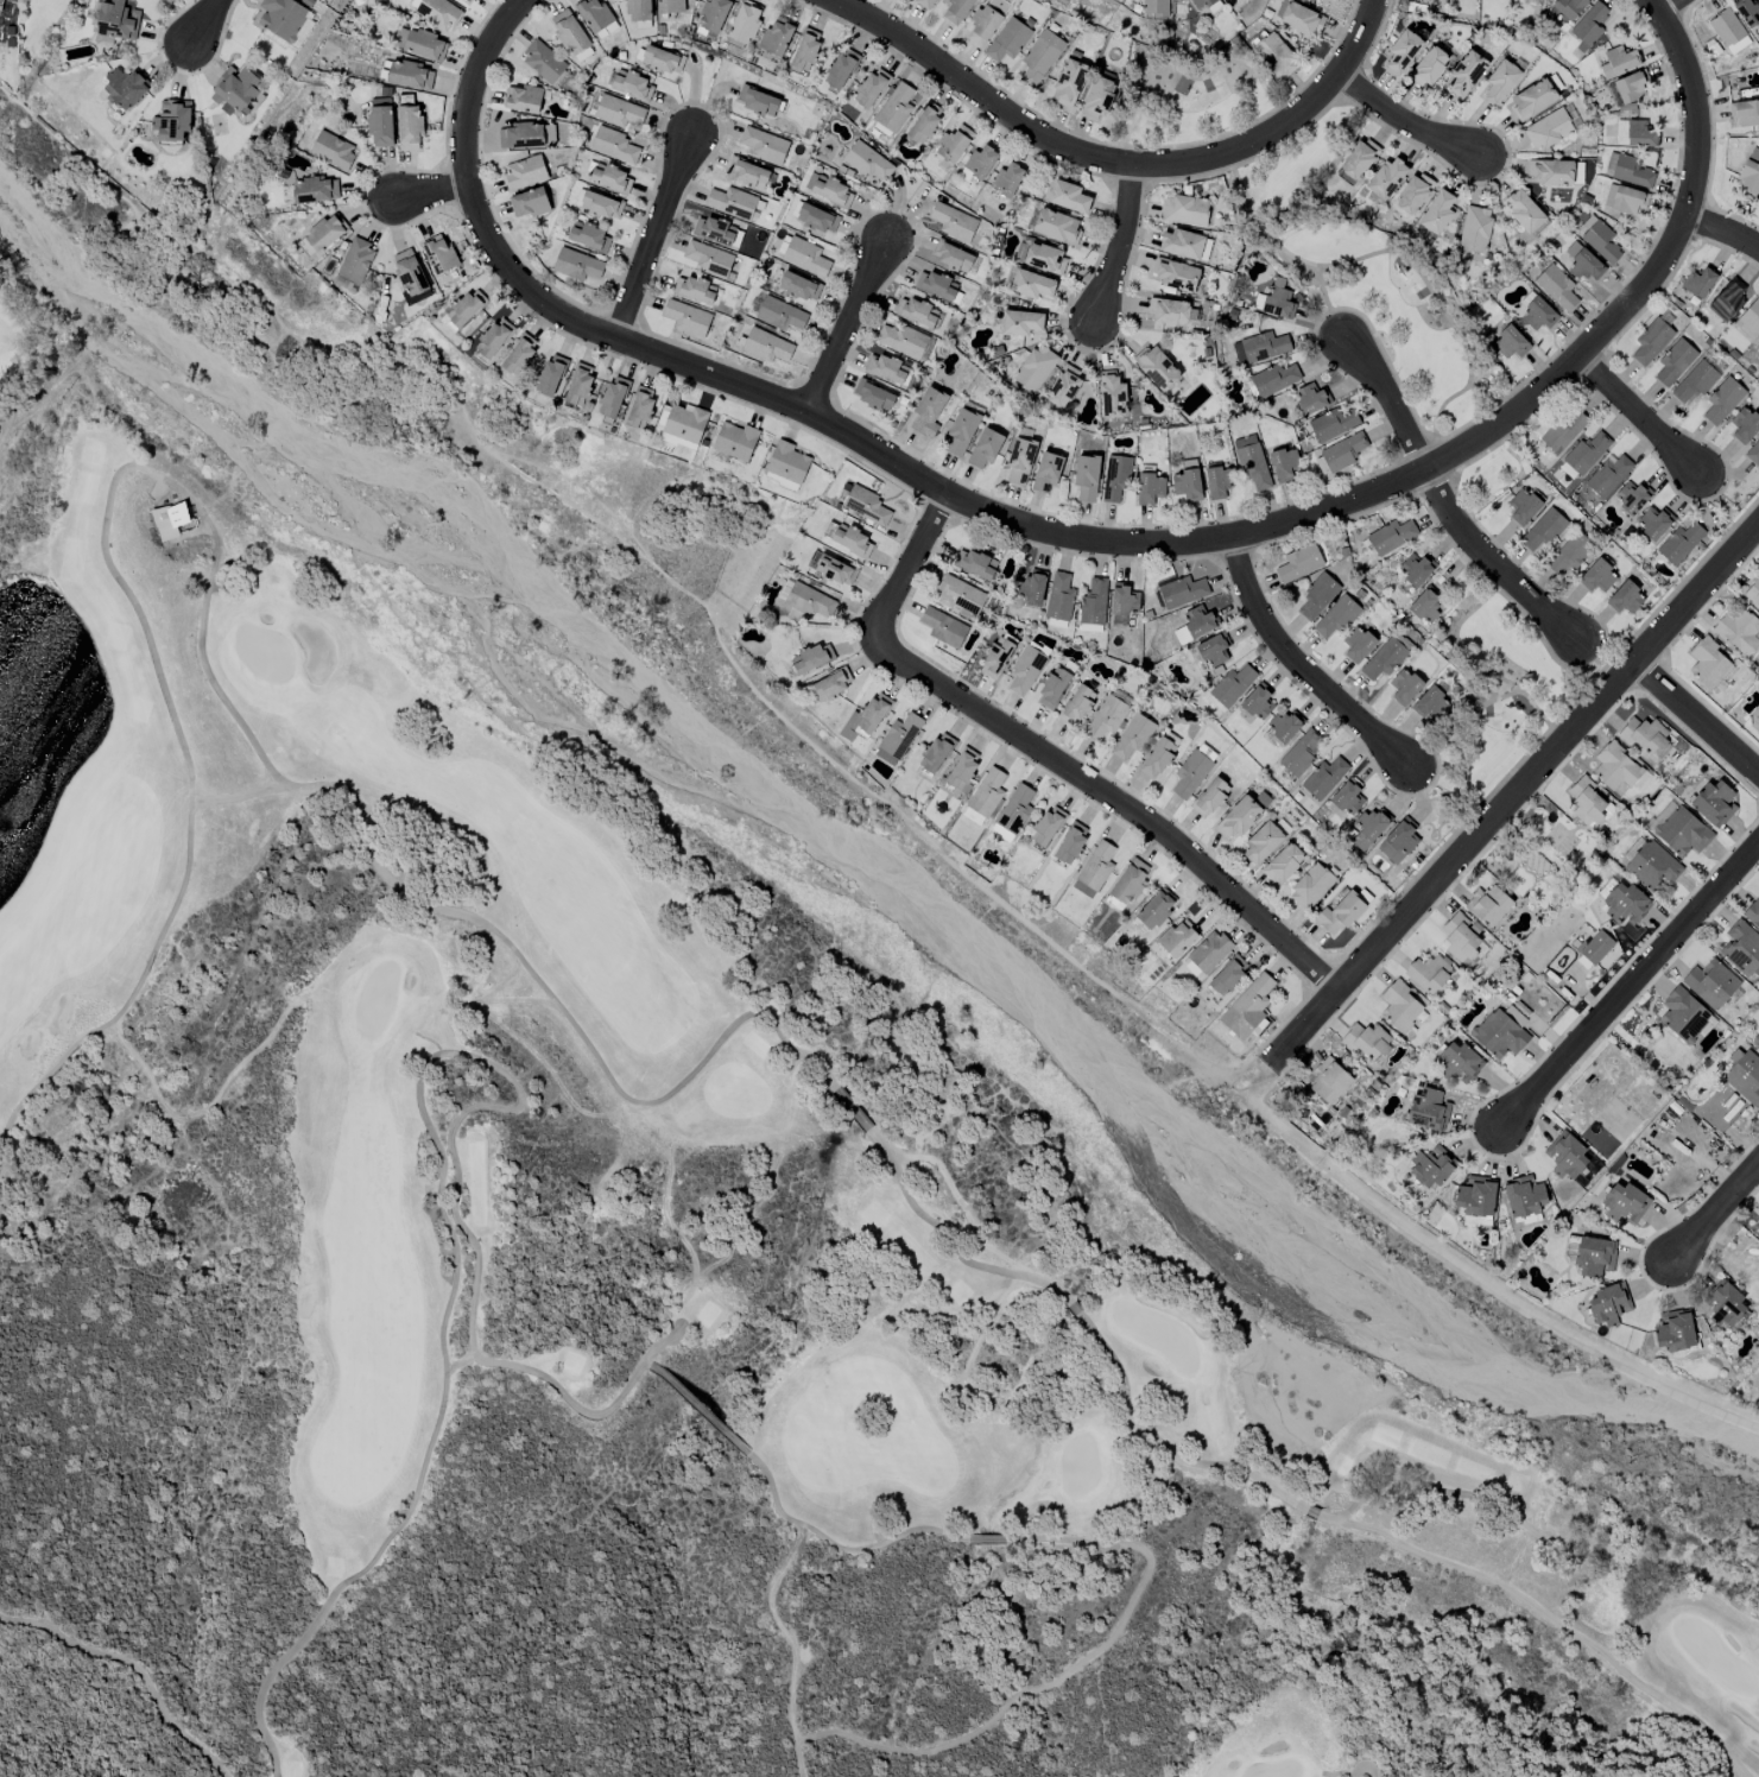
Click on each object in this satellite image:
building: (1226, 0)
building: (1329, 0)
building: (464, 1)
road: (1633, 1)
road: (1696, 2)
building: (2, 4)
building: (924, 4)
building: (1202, 4)
road: (1681, 4)
road: (1654, 5)
road: (1665, 5)
building: (670, 6)
road: (1685, 6)
building: (1569, 7)
building: (1154, 8)
building: (639, 10)
building: (956, 10)
building: (437, 11)
building: (1747, 12)
building: (281, 18)
building: (596, 18)
building: (1298, 18)
building: (986, 20)
road: (209, 21)
building: (116, 23)
building: (745, 23)
building: (1589, 24)
road: (1380, 31)
building: (1728, 31)
building: (569, 32)
road: (1669, 34)
building: (776, 38)
building: (1007, 40)
building: (420, 43)
building: (1403, 51)
building: (804, 52)
building: (1276, 55)
building: (1040, 57)
building: (662, 59)
building: (543, 62)
building: (1619, 62)
building: (1428, 67)
building: (841, 70)
road: (458, 72)
building: (1466, 74)
building: (409, 75)
road: (1187, 76)
road: (1365, 80)
building: (1069, 82)
building: (1500, 82)
road: (1354, 84)
building: (632, 86)
building: (1632, 87)
building: (125, 88)
building: (871, 88)
road: (948, 89)
building: (234, 90)
park: (1192, 95)
road: (1352, 96)
building: (523, 99)
building: (1097, 99)
building: (1532, 99)
building: (758, 101)
road: (702, 107)
building: (894, 107)
road: (1710, 108)
building: (618, 112)
building: (1745, 113)
building: (172, 120)
road: (1403, 120)
building: (380, 122)
building: (924, 122)
building: (409, 127)
building: (1548, 129)
building: (1634, 134)
building: (527, 135)
building: (953, 144)
building: (613, 145)
building: (764, 145)
road: (1126, 146)
building: (333, 151)
road: (1249, 159)
road: (1118, 160)
building: (867, 162)
building: (980, 162)
road: (1120, 162)
road: (1152, 162)
building: (1358, 162)
road: (448, 163)
road: (482, 167)
road: (1504, 169)
building: (1631, 171)
building: (524, 172)
building: (1556, 172)
building: (747, 173)
building: (1749, 175)
road: (1158, 177)
building: (610, 178)
building: (1007, 179)
building: (1385, 179)
road: (1132, 183)
road: (1120, 188)
road: (442, 189)
building: (828, 189)
building: (315, 190)
road: (434, 192)
building: (1415, 194)
road: (1689, 194)
building: (1608, 196)
building: (1068, 197)
building: (1628, 201)
building: (529, 203)
building: (732, 203)
building: (601, 204)
road: (365, 205)
building: (1184, 210)
building: (1523, 210)
road: (1711, 210)
road: (900, 211)
building: (1438, 213)
road: (462, 217)
building: (817, 219)
road: (1739, 220)
building: (954, 222)
road: (1703, 223)
building: (1056, 227)
building: (1474, 229)
road: (1723, 230)
building: (717, 232)
building: (325, 233)
building: (588, 236)
road: (1673, 236)
road: (1703, 238)
road: (653, 240)
road: (1120, 241)
building: (1601, 242)
building: (1181, 244)
road: (1387, 251)
road: (1733, 253)
building: (438, 254)
road: (1645, 254)
building: (953, 255)
building: (805, 257)
building: (1044, 258)
building: (709, 259)
building: (355, 261)
building: (1581, 263)
building: (577, 265)
building: (1176, 274)
building: (410, 276)
park: (1366, 276)
building: (1698, 283)
building: (1031, 284)
building: (936, 285)
building: (799, 286)
building: (1557, 287)
building: (694, 289)
building: (1728, 299)
building: (1276, 301)
road: (1652, 301)
building: (466, 308)
road: (610, 308)
road: (1329, 308)
building: (1172, 311)
building: (916, 312)
building: (1537, 312)
building: (779, 315)
road: (1327, 315)
building: (1751, 317)
building: (686, 318)
road: (621, 321)
building: (1020, 322)
park: (25, 324)
road: (847, 328)
road: (593, 330)
road: (650, 336)
building: (493, 339)
building: (901, 340)
building: (1651, 341)
building: (1510, 343)
building: (766, 346)
road: (639, 348)
building: (1259, 348)
road: (1603, 349)
road: (1089, 352)
building: (519, 354)
road: (717, 360)
building: (1675, 362)
building: (886, 368)
building: (1034, 368)
building: (1157, 368)
road: (1593, 371)
building: (551, 375)
road: (669, 378)
building: (1274, 379)
building: (1694, 382)
road: (808, 384)
road: (1568, 384)
building: (578, 386)
building: (1064, 386)
road: (816, 396)
building: (873, 396)
building: (613, 397)
building: (1112, 397)
road: (1492, 398)
building: (1722, 400)
building: (640, 407)
road: (840, 412)
building: (928, 412)
road: (1639, 413)
building: (1333, 424)
building: (1744, 425)
building: (681, 426)
road: (1517, 429)
building: (1564, 429)
building: (961, 432)
building: (735, 441)
road: (1441, 444)
building: (985, 448)
road: (1413, 448)
road: (1401, 449)
building: (1344, 451)
building: (1588, 451)
building: (1753, 453)
road: (1444, 460)
building: (1020, 461)
building: (787, 462)
building: (1252, 462)
building: (1284, 463)
road: (1456, 470)
building: (1046, 472)
park: (1495, 474)
building: (1608, 475)
building: (1087, 478)
building: (1115, 478)
road: (157, 479)
road: (1406, 479)
road: (928, 482)
building: (1217, 483)
building: (1187, 485)
building: (1150, 488)
road: (1436, 492)
building: (842, 494)
road: (1719, 494)
building: (1632, 497)
road: (1423, 498)
road: (967, 502)
road: (1447, 504)
building: (866, 505)
building: (1523, 506)
road: (924, 511)
road: (936, 517)
building: (171, 520)
road: (966, 521)
building: (1653, 523)
road: (1106, 525)
road: (1336, 525)
building: (1542, 531)
building: (1391, 537)
road: (1084, 538)
building: (846, 540)
building: (1681, 543)
road: (1268, 544)
building: (1570, 554)
road: (1083, 556)
road: (1239, 557)
road: (1226, 562)
building: (1299, 563)
building: (974, 564)
building: (831, 568)
building: (1416, 569)
building: (1597, 577)
building: (1032, 588)
building: (1182, 592)
building: (1753, 592)
building: (960, 595)
building: (1059, 597)
building: (1316, 597)
building: (1625, 599)
building: (1124, 600)
building: (810, 601)
building: (1094, 602)
building: (1425, 606)
building: (1337, 616)
building: (1195, 625)
building: (943, 627)
building: (1739, 631)
road: (1455, 634)
building: (1358, 644)
building: (1213, 650)
building: (812, 658)
building: (995, 658)
building: (1384, 659)
building: (1708, 663)
road: (1592, 664)
road: (1298, 666)
building: (1025, 670)
road: (1578, 671)
building: (830, 685)
building: (1232, 685)
building: (1404, 687)
building: (1052, 688)
road: (1649, 695)
park: (1499, 697)
building: (1258, 702)
building: (1076, 704)
building: (1431, 704)
road: (1487, 704)
park: (139, 714)
building: (1106, 717)
building: (865, 719)
road: (1696, 719)
building: (1285, 726)
road: (1552, 727)
building: (1757, 731)
building: (1643, 734)
building: (1132, 736)
building: (898, 739)
building: (1302, 752)
building: (936, 753)
road: (1068, 754)
road: (1048, 758)
building: (1157, 758)
road: (1024, 759)
building: (1615, 767)
building: (962, 770)
building: (1190, 773)
building: (1324, 778)
building: (987, 793)
road: (1421, 793)
park: (83, 795)
road: (1513, 795)
building: (1209, 797)
building: (1348, 798)
building: (1584, 799)
building: (1713, 803)
building: (1015, 809)
building: (1242, 815)
building: (1046, 828)
building: (1368, 828)
building: (1683, 833)
building: (1398, 841)
building: (1070, 843)
building: (1261, 843)
park: (523, 860)
building: (1284, 864)
building: (1653, 866)
building: (1094, 869)
building: (1130, 881)
building: (1311, 886)
building: (1626, 904)
building: (1488, 905)
building: (1156, 909)
building: (1753, 913)
building: (1340, 915)
road: (1416, 927)
building: (1177, 938)
building: (1460, 938)
building: (1596, 948)
building: (1742, 948)
building: (1206, 954)
road: (1349, 956)
road: (1358, 970)
building: (1429, 973)
road: (1320, 974)
building: (1227, 975)
road: (1309, 981)
road: (1632, 981)
building: (1711, 984)
building: (1247, 1007)
building: (1399, 1007)
building: (1684, 1016)
building: (1499, 1035)
building: (1366, 1041)
building: (1757, 1042)
building: (1457, 1062)
building: (1744, 1075)
building: (1329, 1081)
road: (418, 1105)
building: (1720, 1108)
building: (1429, 1109)
building: (1567, 1156)
building: (1431, 1166)
building: (1524, 1197)
building: (1476, 1201)
building: (1624, 1203)
road: (1717, 1209)
building: (1594, 1256)
road: (1472, 1270)
park: (390, 1272)
building: (1608, 1304)
building: (1726, 1304)
building: (1675, 1332)
road: (1122, 1386)
park: (1039, 1403)
park: (817, 1418)
park: (1342, 1467)
road: (1092, 1545)
park: (331, 1568)
road: (1559, 1625)
park: (1695, 1655)
road: (137, 1665)
park: (1283, 1740)
road: (1363, 1766)

